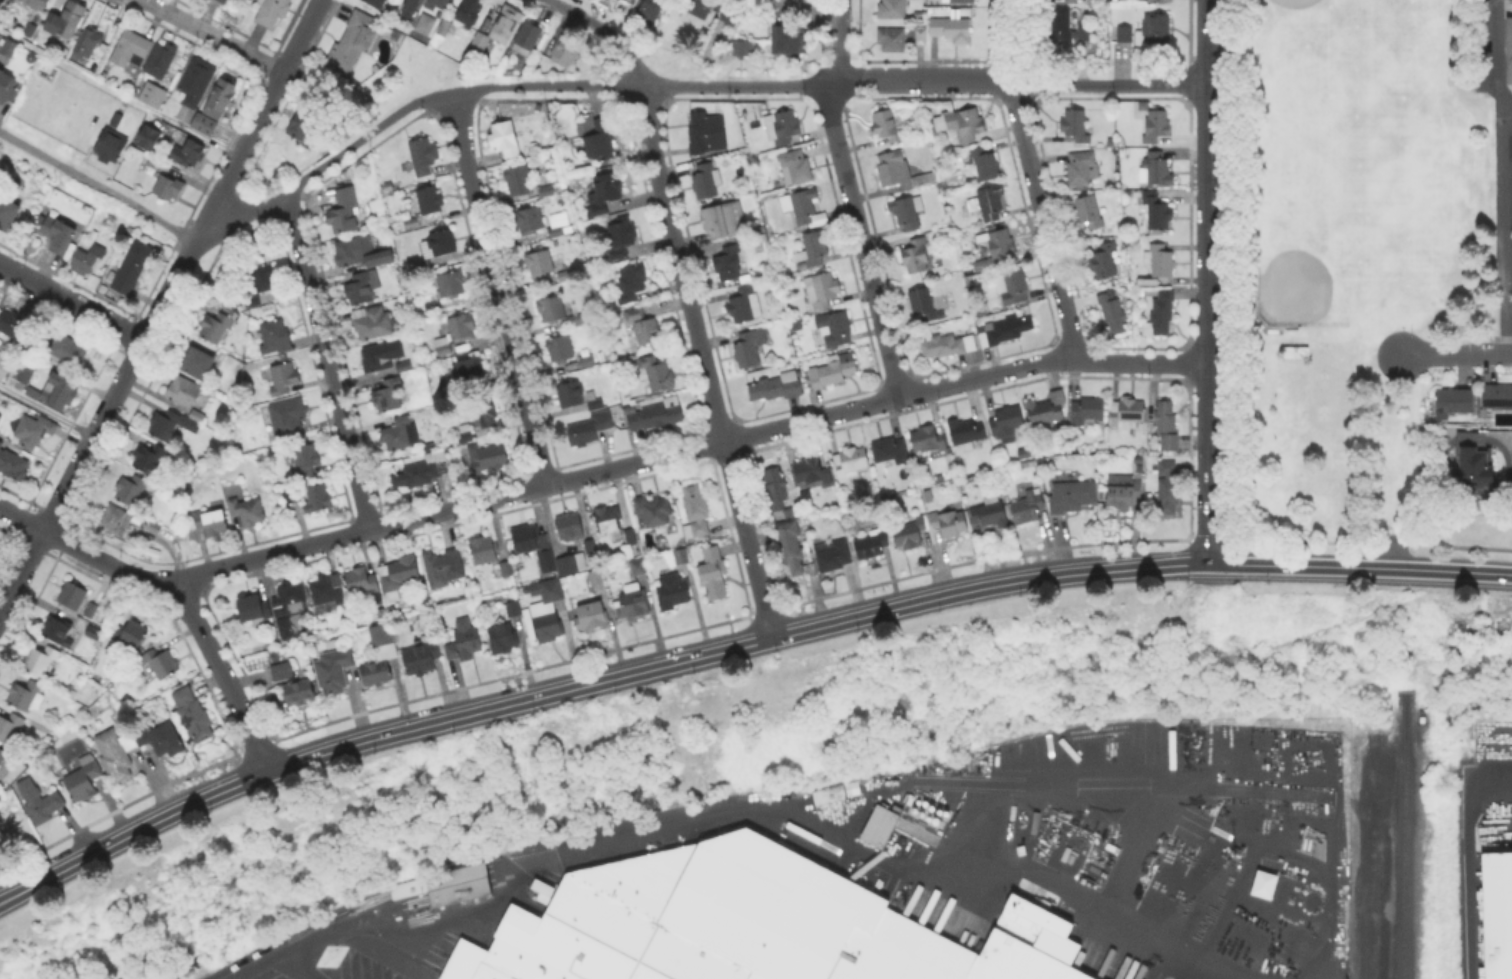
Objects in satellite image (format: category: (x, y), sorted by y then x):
building: (223, 1)
building: (632, 2)
building: (959, 2)
building: (377, 3)
building: (439, 3)
building: (37, 4)
building: (406, 7)
building: (699, 8)
building: (892, 10)
building: (272, 11)
building: (470, 11)
building: (650, 11)
building: (733, 13)
road: (841, 13)
road: (809, 15)
road: (385, 18)
building: (71, 19)
building: (427, 26)
building: (446, 26)
building: (1065, 29)
building: (499, 30)
road: (606, 30)
building: (1154, 30)
building: (951, 31)
building: (1125, 35)
road: (212, 36)
building: (922, 36)
building: (527, 40)
building: (893, 41)
road: (1208, 42)
building: (788, 44)
building: (352, 45)
parking lot: (1491, 45)
building: (85, 46)
building: (1509, 46)
building: (10, 49)
building: (743, 49)
building: (131, 50)
building: (565, 52)
building: (161, 60)
road: (923, 80)
building: (196, 83)
building: (6, 85)
road: (1109, 85)
road: (494, 87)
road: (119, 94)
building: (150, 94)
road: (1510, 98)
building: (216, 106)
building: (117, 120)
road: (257, 120)
building: (962, 124)
building: (1075, 125)
building: (1156, 125)
building: (888, 127)
building: (306, 128)
building: (784, 128)
building: (700, 133)
building: (148, 138)
building: (505, 140)
building: (599, 141)
building: (110, 147)
building: (188, 154)
building: (423, 157)
park: (1362, 163)
building: (155, 165)
building: (984, 165)
building: (795, 168)
building: (1082, 169)
building: (1156, 170)
building: (898, 171)
road: (1509, 175)
building: (519, 181)
road: (1034, 181)
building: (706, 182)
road: (97, 185)
building: (167, 190)
building: (604, 195)
building: (430, 201)
building: (988, 203)
building: (801, 205)
building: (344, 211)
road: (853, 212)
building: (1088, 212)
building: (904, 214)
building: (7, 215)
building: (1156, 215)
building: (529, 220)
building: (723, 220)
building: (412, 224)
building: (560, 225)
building: (58, 235)
building: (621, 239)
building: (440, 244)
park: (1341, 246)
building: (998, 249)
building: (813, 250)
building: (361, 253)
building: (916, 256)
building: (88, 260)
building: (1104, 261)
building: (538, 264)
building: (728, 264)
building: (1160, 264)
building: (132, 267)
building: (565, 277)
building: (261, 279)
building: (631, 284)
building: (451, 285)
building: (1013, 287)
building: (362, 288)
road: (499, 290)
building: (822, 290)
road: (168, 291)
road: (71, 304)
building: (251, 304)
building: (745, 306)
building: (924, 306)
building: (552, 310)
building: (1113, 314)
building: (634, 316)
building: (1161, 317)
road: (1511, 321)
building: (578, 322)
building: (372, 324)
road: (1208, 324)
building: (15, 326)
building: (218, 327)
building: (835, 329)
building: (1004, 331)
building: (455, 334)
building: (649, 334)
building: (276, 337)
building: (948, 343)
building: (749, 348)
building: (560, 349)
building: (1297, 349)
building: (69, 351)
road: (1456, 353)
building: (374, 360)
road: (704, 361)
road: (326, 362)
building: (587, 362)
building: (3, 363)
building: (198, 366)
building: (404, 367)
building: (469, 369)
building: (27, 371)
building: (833, 371)
building: (657, 373)
building: (283, 379)
building: (777, 388)
building: (185, 393)
building: (62, 394)
building: (388, 396)
building: (571, 396)
building: (1497, 396)
building: (1453, 401)
building: (594, 402)
building: (1046, 411)
road: (46, 412)
building: (1089, 413)
building: (1127, 413)
building: (487, 416)
building: (656, 416)
building: (288, 421)
building: (175, 424)
building: (1007, 424)
building: (1168, 426)
building: (591, 429)
building: (34, 432)
building: (965, 434)
building: (399, 435)
building: (465, 435)
building: (1473, 439)
building: (927, 440)
building: (0, 441)
building: (891, 451)
building: (489, 458)
building: (149, 459)
building: (306, 461)
building: (851, 463)
building: (14, 465)
building: (1478, 469)
building: (422, 473)
road: (596, 474)
building: (810, 477)
road: (71, 478)
building: (1169, 489)
building: (132, 490)
building: (774, 490)
building: (1123, 493)
building: (292, 497)
building: (1073, 497)
building: (318, 499)
building: (1027, 509)
building: (654, 510)
building: (695, 511)
building: (248, 512)
building: (991, 513)
building: (608, 519)
building: (115, 522)
building: (212, 523)
building: (950, 523)
building: (570, 527)
building: (154, 529)
building: (910, 534)
building: (630, 538)
building: (789, 545)
building: (871, 545)
building: (534, 548)
building: (591, 548)
building: (484, 551)
building: (833, 556)
building: (681, 557)
building: (571, 564)
building: (442, 568)
building: (638, 568)
building: (502, 570)
building: (713, 573)
building: (398, 577)
building: (597, 579)
building: (363, 585)
building: (328, 591)
building: (673, 592)
building: (73, 596)
building: (290, 601)
building: (633, 602)
building: (87, 608)
building: (255, 610)
building: (92, 611)
building: (541, 612)
building: (592, 616)
building: (285, 628)
building: (62, 629)
building: (91, 631)
building: (130, 635)
building: (382, 636)
building: (503, 641)
building: (464, 646)
road: (737, 646)
building: (421, 659)
building: (42, 660)
building: (161, 664)
building: (282, 671)
building: (334, 671)
building: (375, 673)
road: (223, 674)
building: (298, 692)
building: (26, 696)
building: (192, 715)
building: (10, 730)
building: (135, 749)
park: (766, 755)
building: (2, 757)
building: (84, 780)
building: (833, 791)
building: (39, 801)
road: (766, 807)
building: (877, 825)
railway: (1403, 835)
building: (444, 884)
building: (1265, 886)
building: (540, 889)
building: (1498, 915)
building: (746, 925)
road: (268, 961)

